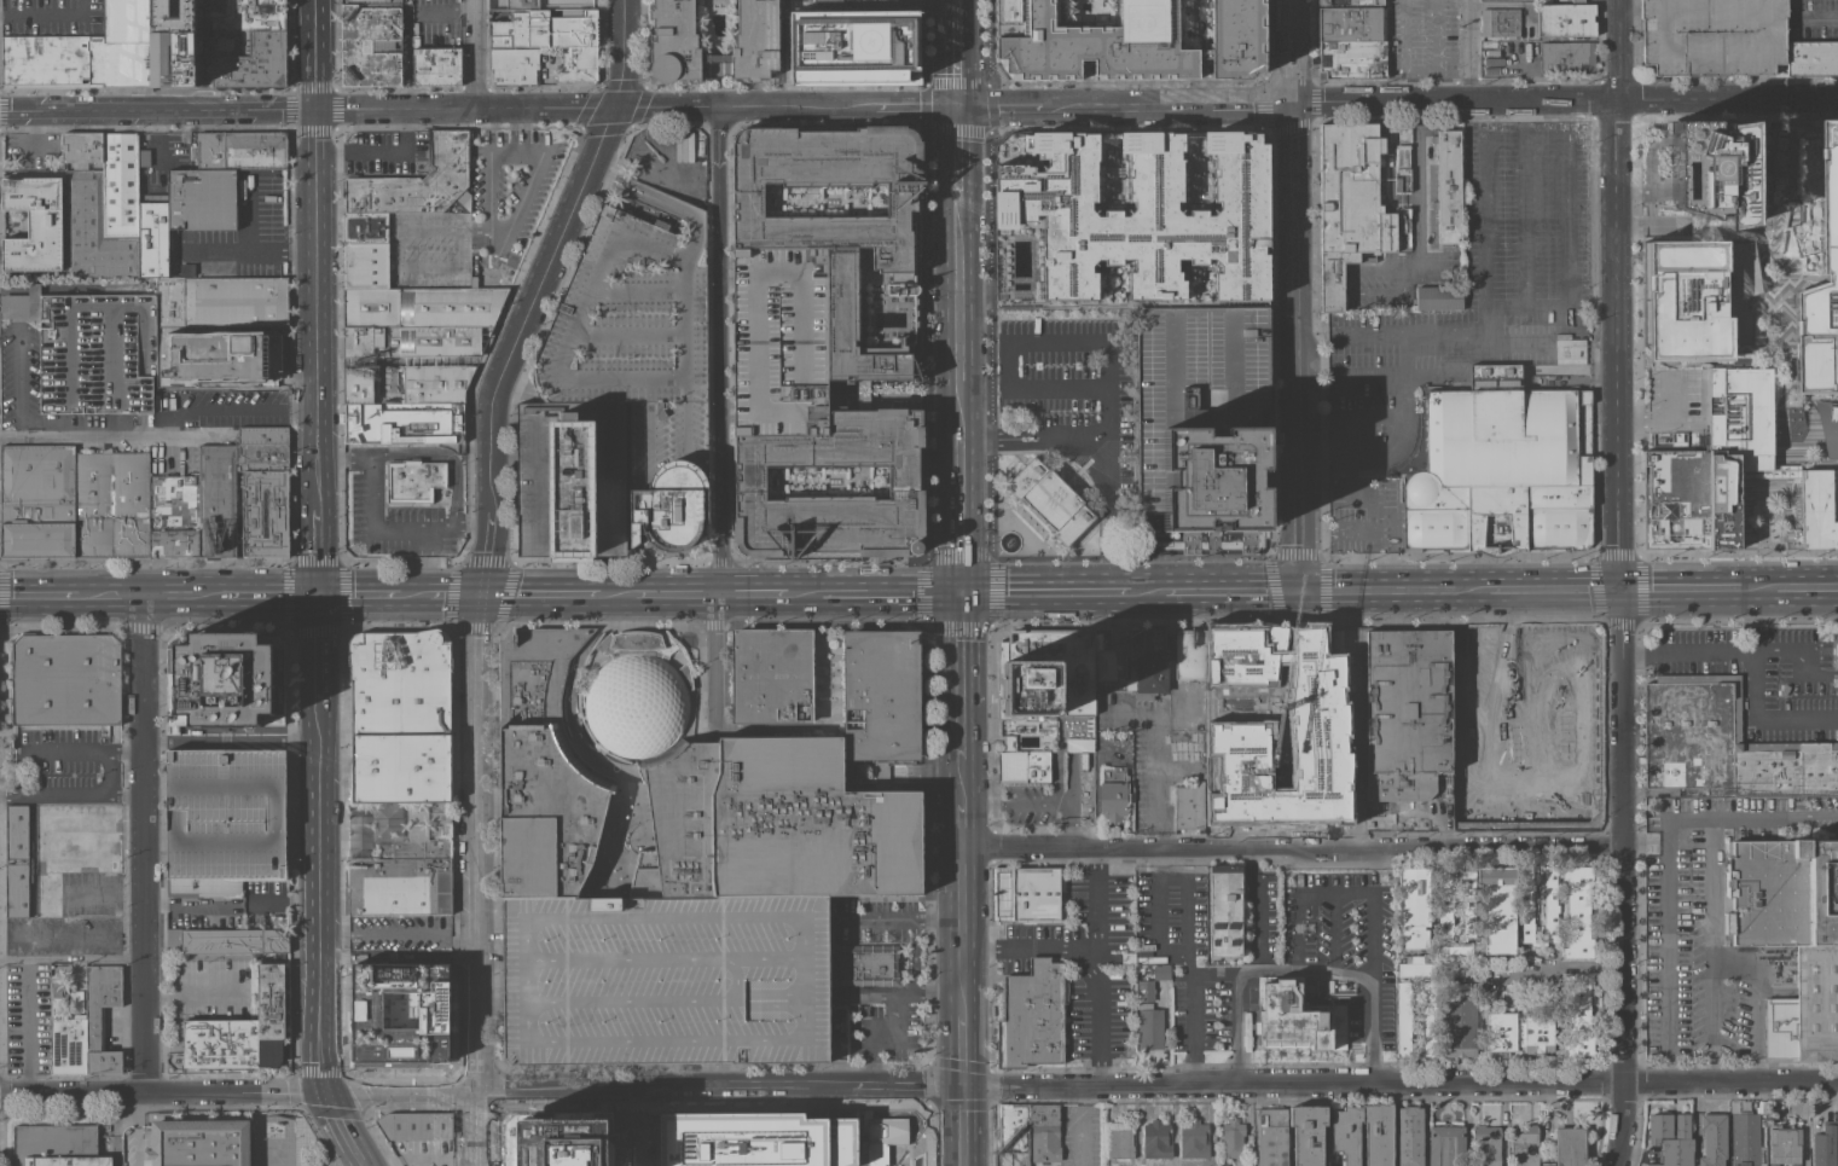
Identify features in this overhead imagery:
building: (1577, 0)
building: (369, 1)
building: (1349, 1)
building: (889, 2)
building: (220, 5)
building: (551, 5)
road: (45, 13)
building: (260, 14)
parking lot: (53, 17)
road: (1810, 17)
building: (1566, 19)
helipad: (1141, 21)
building: (1500, 22)
parking lot: (439, 24)
building: (546, 29)
road: (955, 29)
building: (1712, 36)
parking lot: (1712, 36)
parking lot: (1424, 39)
building: (673, 40)
helipad: (868, 41)
building: (1127, 41)
building: (1351, 42)
building: (127, 43)
building: (175, 43)
building: (369, 45)
building: (851, 45)
road: (1291, 51)
road: (1469, 51)
road: (406, 53)
road: (479, 53)
road: (203, 54)
road: (317, 54)
building: (31, 56)
building: (1567, 57)
building: (1811, 58)
building: (66, 60)
building: (89, 60)
building: (254, 60)
building: (514, 65)
building: (578, 65)
building: (436, 66)
road: (625, 69)
road: (1419, 70)
road: (956, 81)
road: (1430, 86)
road: (1564, 101)
road: (1123, 104)
traffic signals: (956, 105)
traffic signals: (616, 106)
road: (717, 106)
traffic signals: (318, 109)
road: (399, 109)
road: (158, 110)
road: (1521, 116)
building: (1399, 133)
building: (82, 146)
building: (682, 146)
building: (242, 150)
road: (400, 150)
building: (143, 153)
parking lot: (390, 156)
helipad: (1711, 167)
building: (1402, 168)
building: (1720, 168)
road: (669, 179)
building: (416, 181)
building: (120, 185)
building: (1448, 186)
parking lot: (510, 192)
building: (1782, 193)
road: (1565, 195)
building: (1827, 197)
building: (1352, 205)
road: (1482, 211)
road: (245, 214)
road: (1523, 217)
building: (1137, 220)
road: (1421, 222)
building: (33, 224)
road: (1652, 226)
building: (365, 227)
building: (93, 232)
building: (207, 238)
building: (153, 243)
road: (248, 251)
building: (365, 265)
road: (1306, 268)
road: (956, 269)
road: (1332, 269)
road: (987, 274)
road: (930, 278)
road: (7, 289)
road: (1619, 294)
building: (1438, 297)
building: (1698, 297)
road: (15, 306)
road: (1564, 306)
road: (319, 307)
building: (422, 307)
road: (1428, 333)
building: (169, 337)
building: (841, 337)
building: (251, 338)
building: (781, 342)
parking lot: (781, 342)
road: (1780, 342)
road: (1293, 347)
building: (92, 349)
road: (719, 349)
building: (400, 352)
building: (642, 355)
road: (510, 356)
building: (259, 365)
road: (1113, 371)
road: (1372, 382)
building: (435, 383)
road: (17, 385)
parking lot: (1072, 385)
road: (1062, 389)
road: (1809, 394)
building: (156, 404)
road: (251, 408)
building: (1201, 414)
road: (1370, 416)
road: (1651, 419)
building: (404, 422)
building: (1827, 425)
road: (52, 428)
building: (262, 435)
road: (17, 436)
road: (80, 436)
road: (1401, 441)
building: (261, 453)
road: (1113, 462)
building: (1711, 462)
road: (1808, 463)
building: (1497, 468)
building: (572, 478)
building: (412, 481)
road: (1368, 495)
building: (1050, 499)
building: (37, 501)
building: (218, 501)
building: (112, 504)
building: (1820, 507)
building: (263, 509)
road: (957, 514)
building: (174, 516)
road: (1353, 532)
fountain: (1008, 540)
road: (320, 550)
road: (963, 555)
road: (1807, 586)
road: (1758, 587)
road: (1678, 588)
road: (1393, 590)
road: (1553, 590)
traffic signals: (1617, 590)
road: (1147, 591)
road: (1231, 591)
traffic signals: (1298, 591)
road: (1043, 592)
road: (616, 593)
road: (677, 593)
road: (753, 593)
road: (872, 593)
traffic signals: (958, 593)
road: (273, 594)
traffic signals: (320, 594)
road: (359, 594)
road: (413, 594)
road: (453, 594)
traffic signals: (480, 594)
road: (539, 594)
road: (110, 596)
road: (184, 596)
road: (40, 597)
building: (1837, 634)
building: (1343, 640)
road: (320, 650)
road: (1686, 650)
road: (1773, 650)
building: (1190, 654)
building: (1137, 657)
road: (714, 663)
road: (1810, 671)
building: (1045, 672)
building: (772, 675)
building: (66, 679)
building: (225, 680)
road: (958, 681)
road: (1755, 684)
building: (1784, 690)
building: (637, 694)
building: (880, 708)
building: (1315, 714)
building: (400, 715)
road: (1797, 719)
building: (1402, 720)
road: (232, 741)
building: (1008, 743)
building: (1079, 744)
building: (1724, 744)
road: (86, 747)
building: (1025, 766)
building: (543, 770)
road: (924, 771)
road: (1154, 784)
road: (71, 793)
building: (1113, 795)
road: (1011, 805)
building: (1189, 806)
road: (959, 808)
road: (1065, 810)
building: (1460, 812)
road: (1751, 817)
building: (224, 819)
parking lot: (224, 819)
building: (773, 824)
building: (17, 831)
road: (44, 840)
road: (144, 845)
road: (1670, 845)
road: (1292, 847)
road: (1156, 860)
road: (1097, 862)
building: (400, 875)
road: (1625, 877)
road: (479, 880)
building: (17, 889)
building: (1026, 894)
road: (1251, 894)
road: (320, 899)
road: (232, 901)
building: (1445, 901)
building: (1468, 901)
building: (1413, 906)
building: (1498, 907)
building: (1550, 907)
building: (1225, 910)
road: (1098, 911)
road: (1156, 911)
building: (1578, 911)
road: (1373, 916)
road: (903, 922)
road: (962, 930)
road: (1665, 932)
parking lot: (402, 935)
building: (1791, 935)
building: (227, 940)
road: (1716, 945)
road: (979, 949)
road: (1046, 949)
road: (1175, 950)
building: (1456, 950)
road: (400, 957)
road: (912, 957)
road: (71, 958)
building: (1415, 958)
building: (868, 964)
road: (1191, 965)
road: (1086, 967)
road: (1560, 967)
building: (1415, 969)
building: (1161, 971)
road: (1304, 971)
building: (665, 979)
parking lot: (665, 979)
building: (1146, 990)
road: (833, 991)
road: (196, 994)
road: (1757, 1005)
road: (889, 1009)
building: (398, 1011)
building: (1032, 1015)
building: (1578, 1016)
building: (1297, 1017)
building: (1428, 1019)
building: (1403, 1020)
road: (1098, 1022)
building: (85, 1023)
building: (1459, 1023)
building: (1149, 1026)
building: (240, 1029)
building: (1519, 1033)
road: (1711, 1045)
road: (966, 1050)
road: (1194, 1068)
road: (1100, 1072)
road: (1402, 1081)
traffic signals: (967, 1086)
road: (648, 1090)
road: (163, 1094)
traffic signals: (329, 1094)
building: (416, 1125)
road: (343, 1126)
road: (967, 1126)
road: (630, 1129)
road: (135, 1130)
building: (1017, 1130)
building: (1308, 1133)
building: (1345, 1136)
building: (1410, 1136)
building: (1271, 1137)
building: (881, 1138)
building: (1671, 1138)
building: (1156, 1139)
building: (1194, 1139)
building: (1233, 1139)
building: (1712, 1139)
building: (1746, 1139)
building: (753, 1141)
building: (1119, 1141)
building: (199, 1142)
building: (1045, 1143)
building: (557, 1144)
building: (1825, 1144)
building: (57, 1145)
building: (1446, 1145)
building: (1485, 1145)
building: (1524, 1145)
building: (1570, 1145)
building: (1784, 1145)
road: (364, 1162)
building: (1037, 1164)
building: (1548, 1164)

